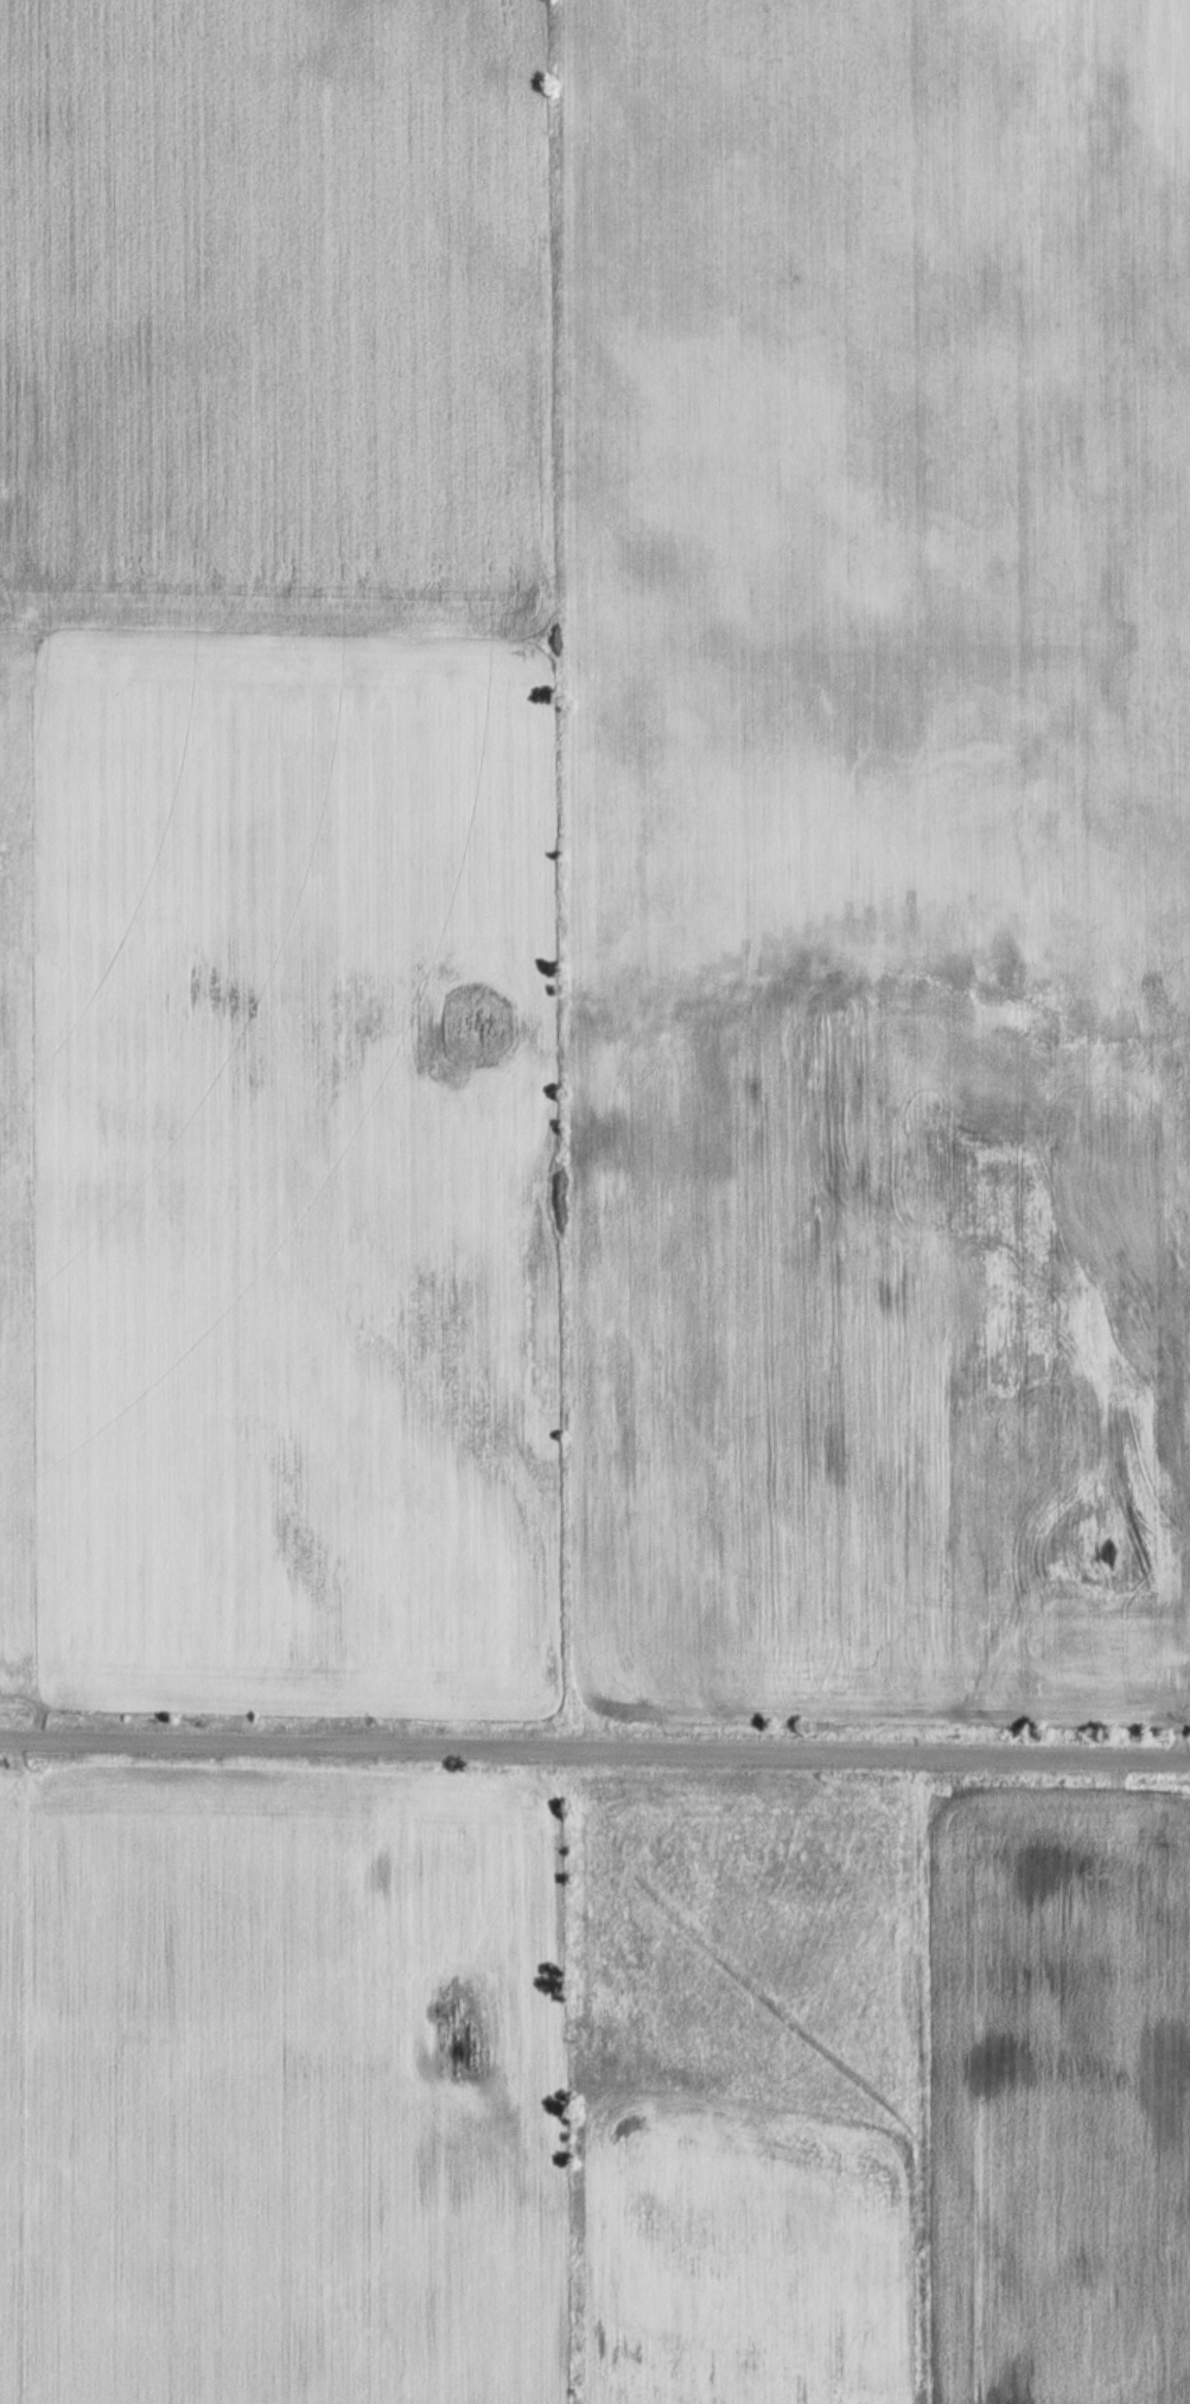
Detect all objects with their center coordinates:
road: (594, 1747)

